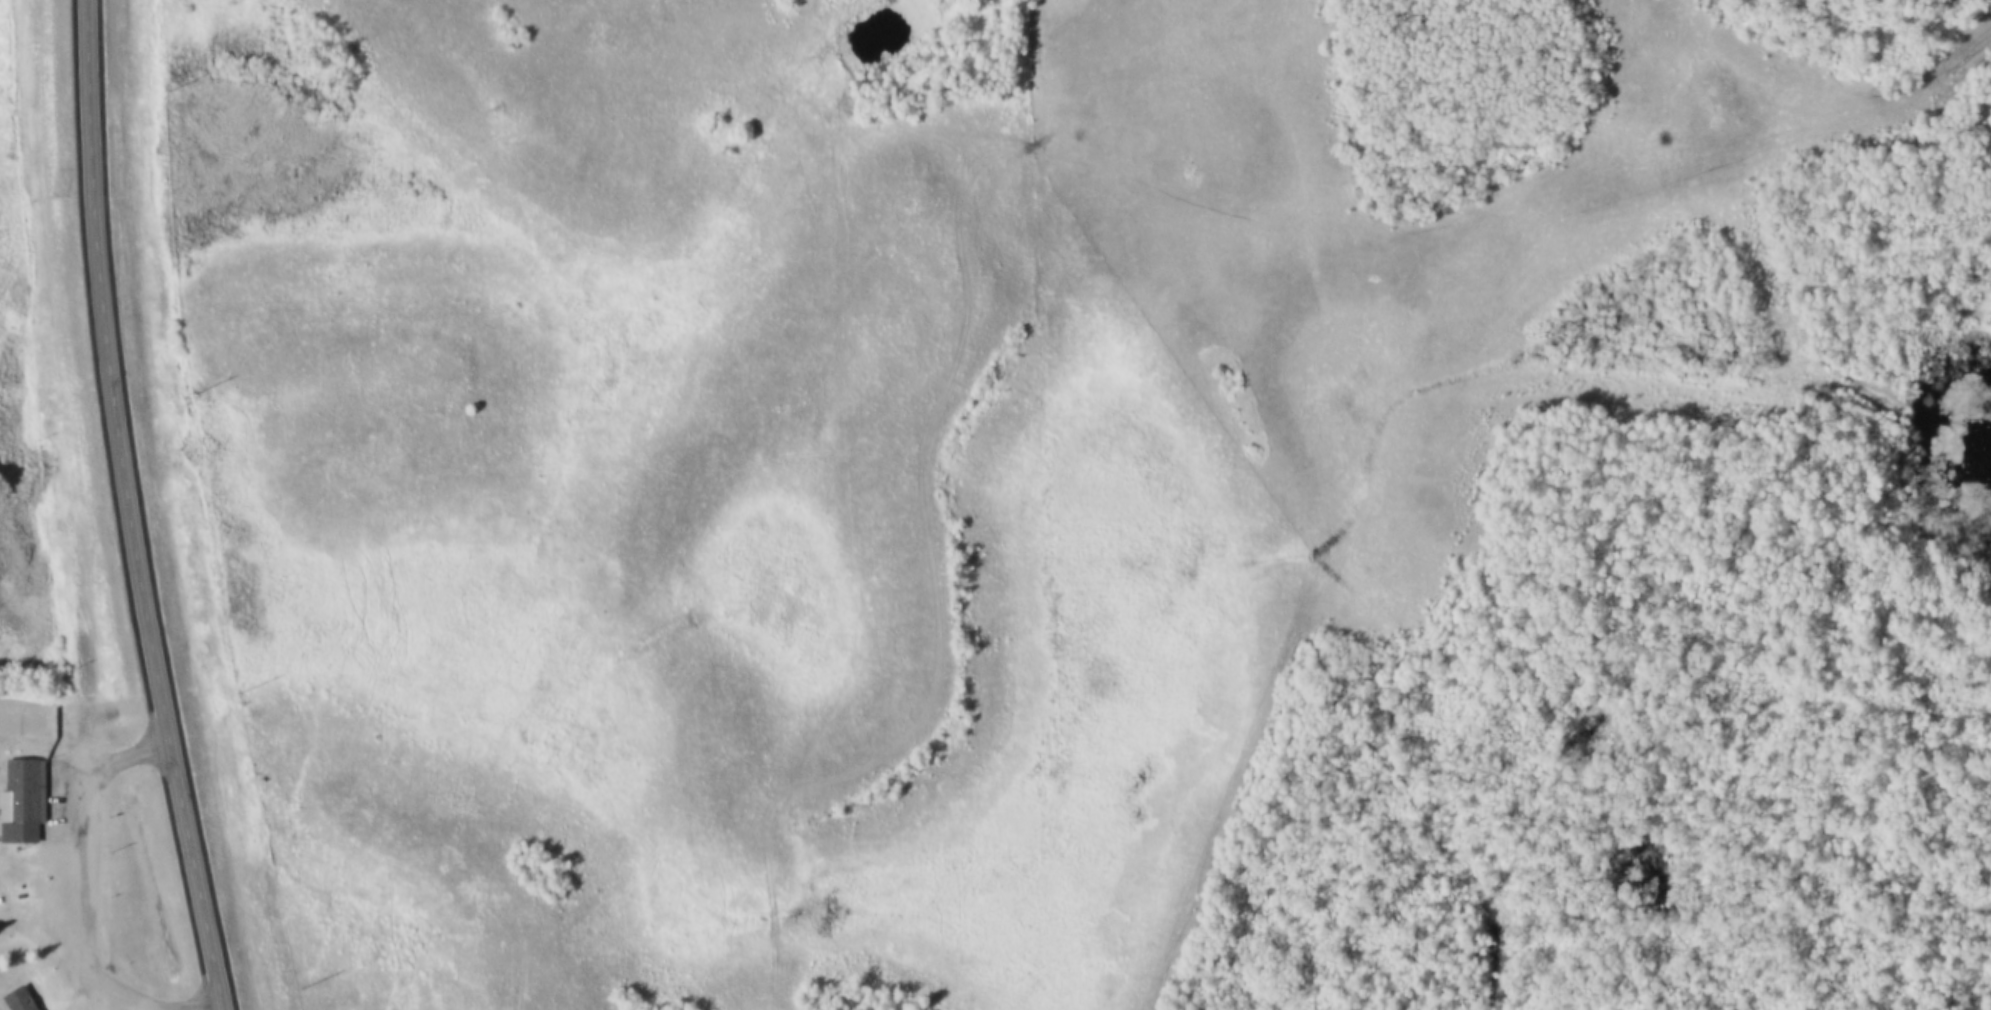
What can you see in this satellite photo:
road: (126, 508)
road: (936, 545)
building: (23, 803)
road: (74, 878)
road: (95, 999)
building: (23, 1000)

